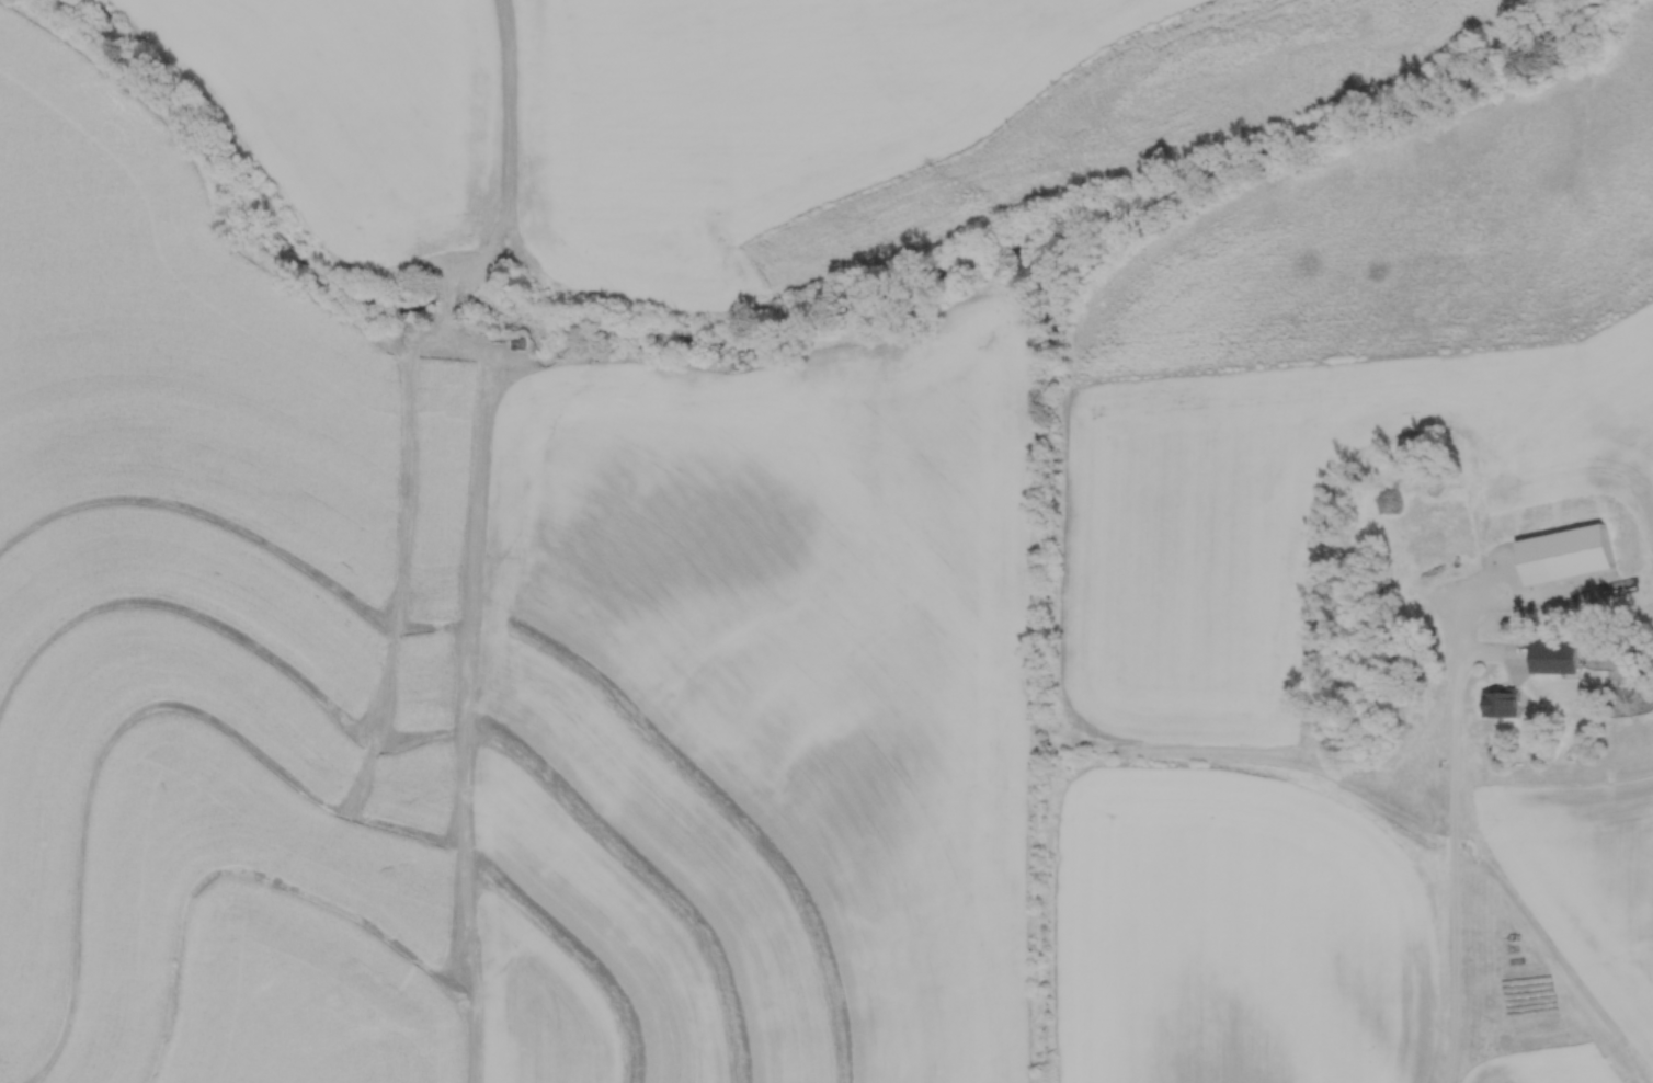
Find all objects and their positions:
building: (1565, 555)
building: (1542, 654)
building: (1570, 658)
building: (1500, 704)
road: (1454, 834)

